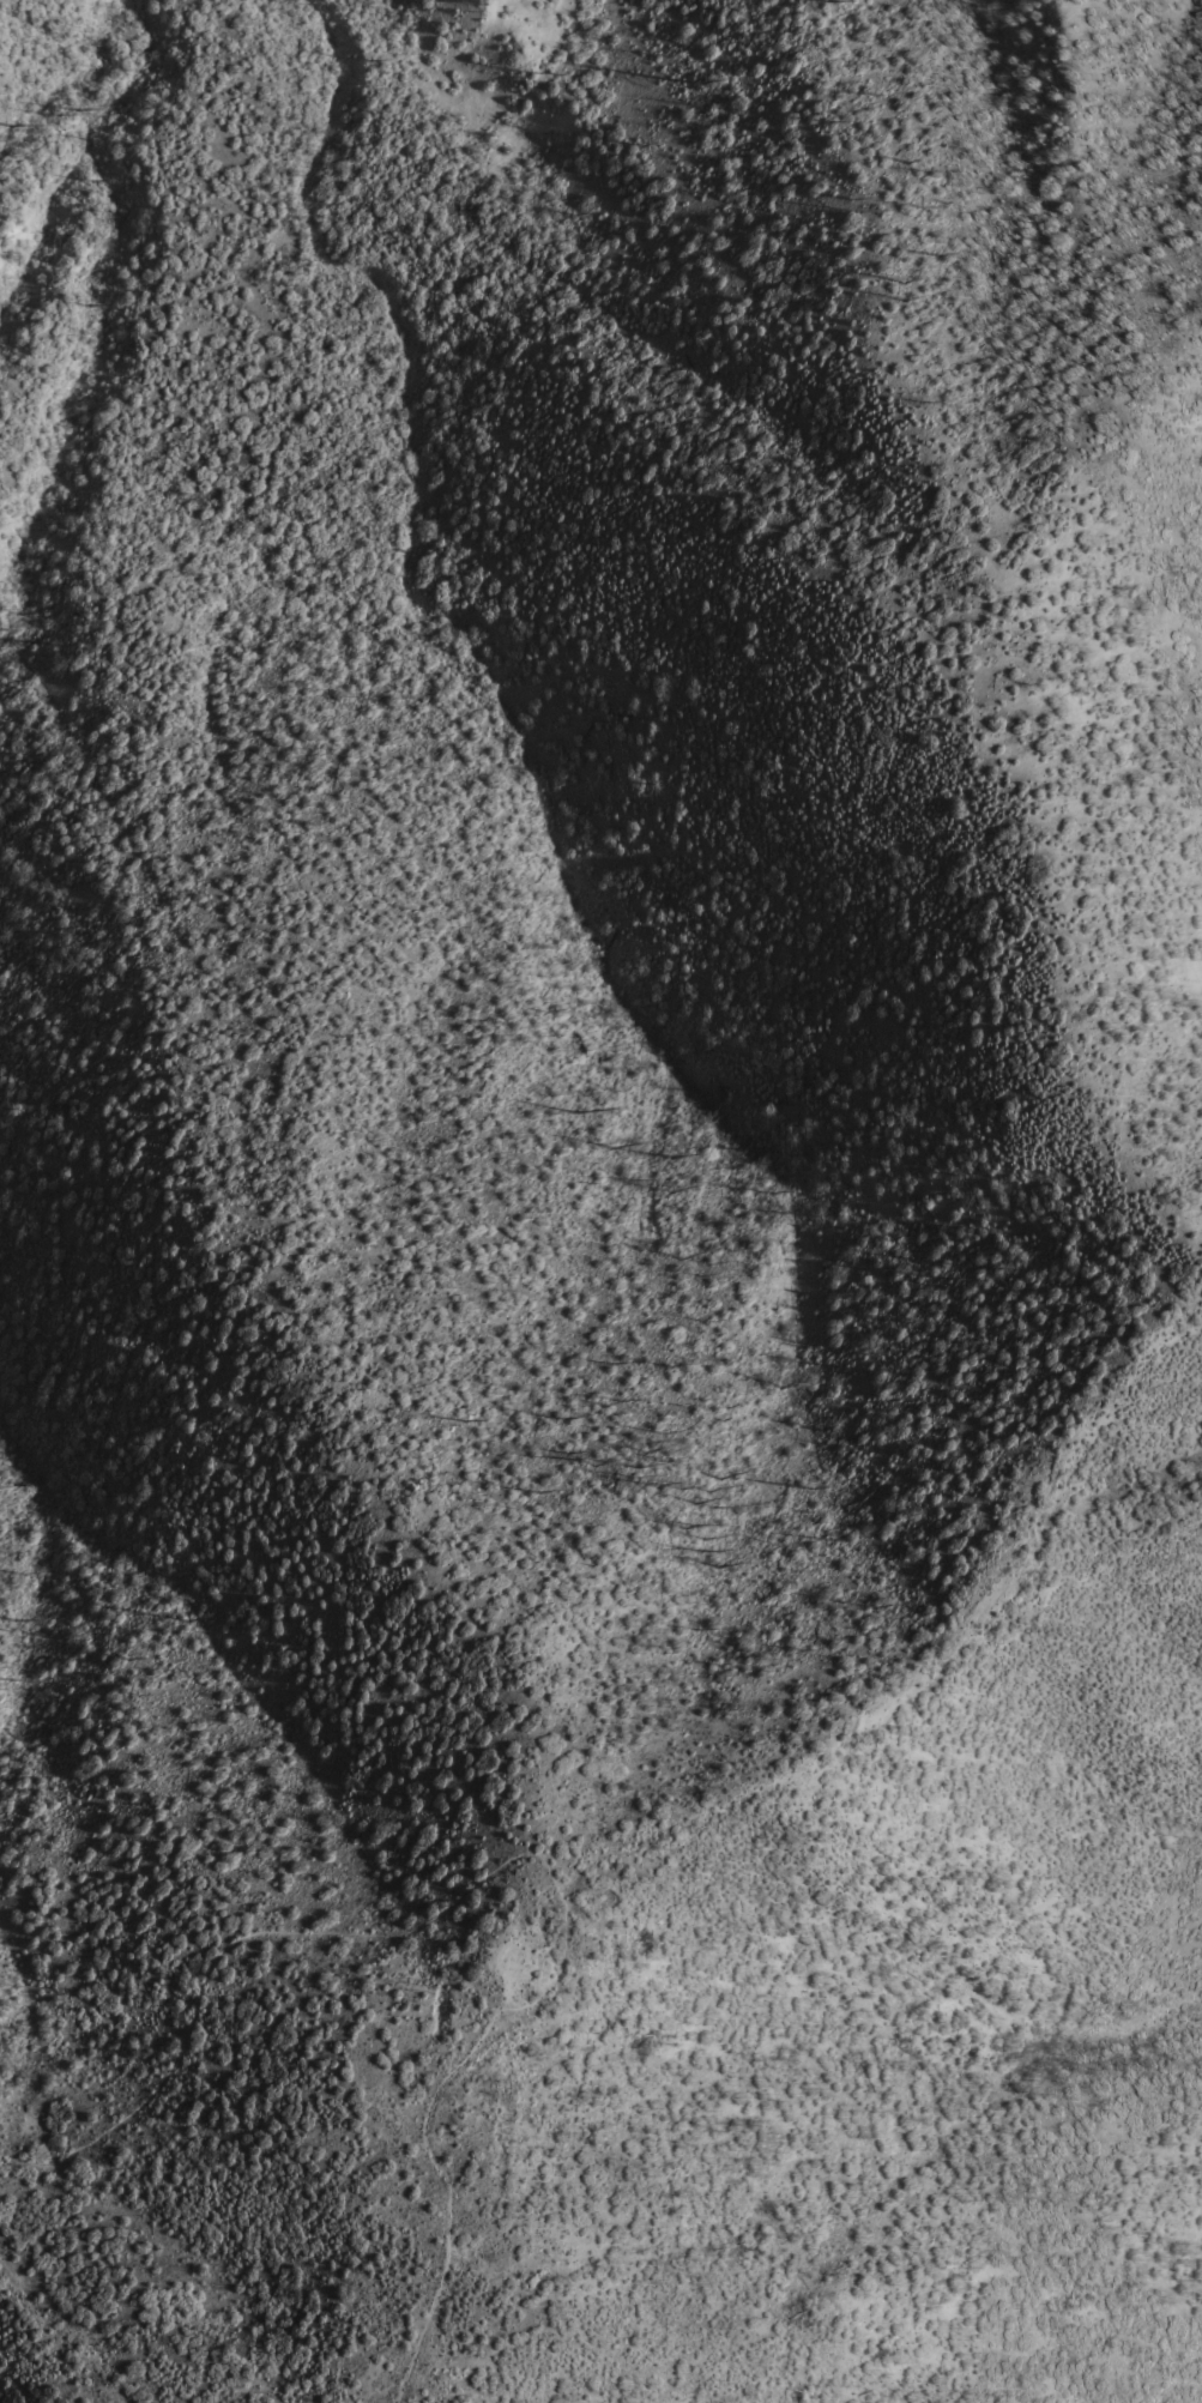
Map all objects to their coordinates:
road: (505, 1859)

